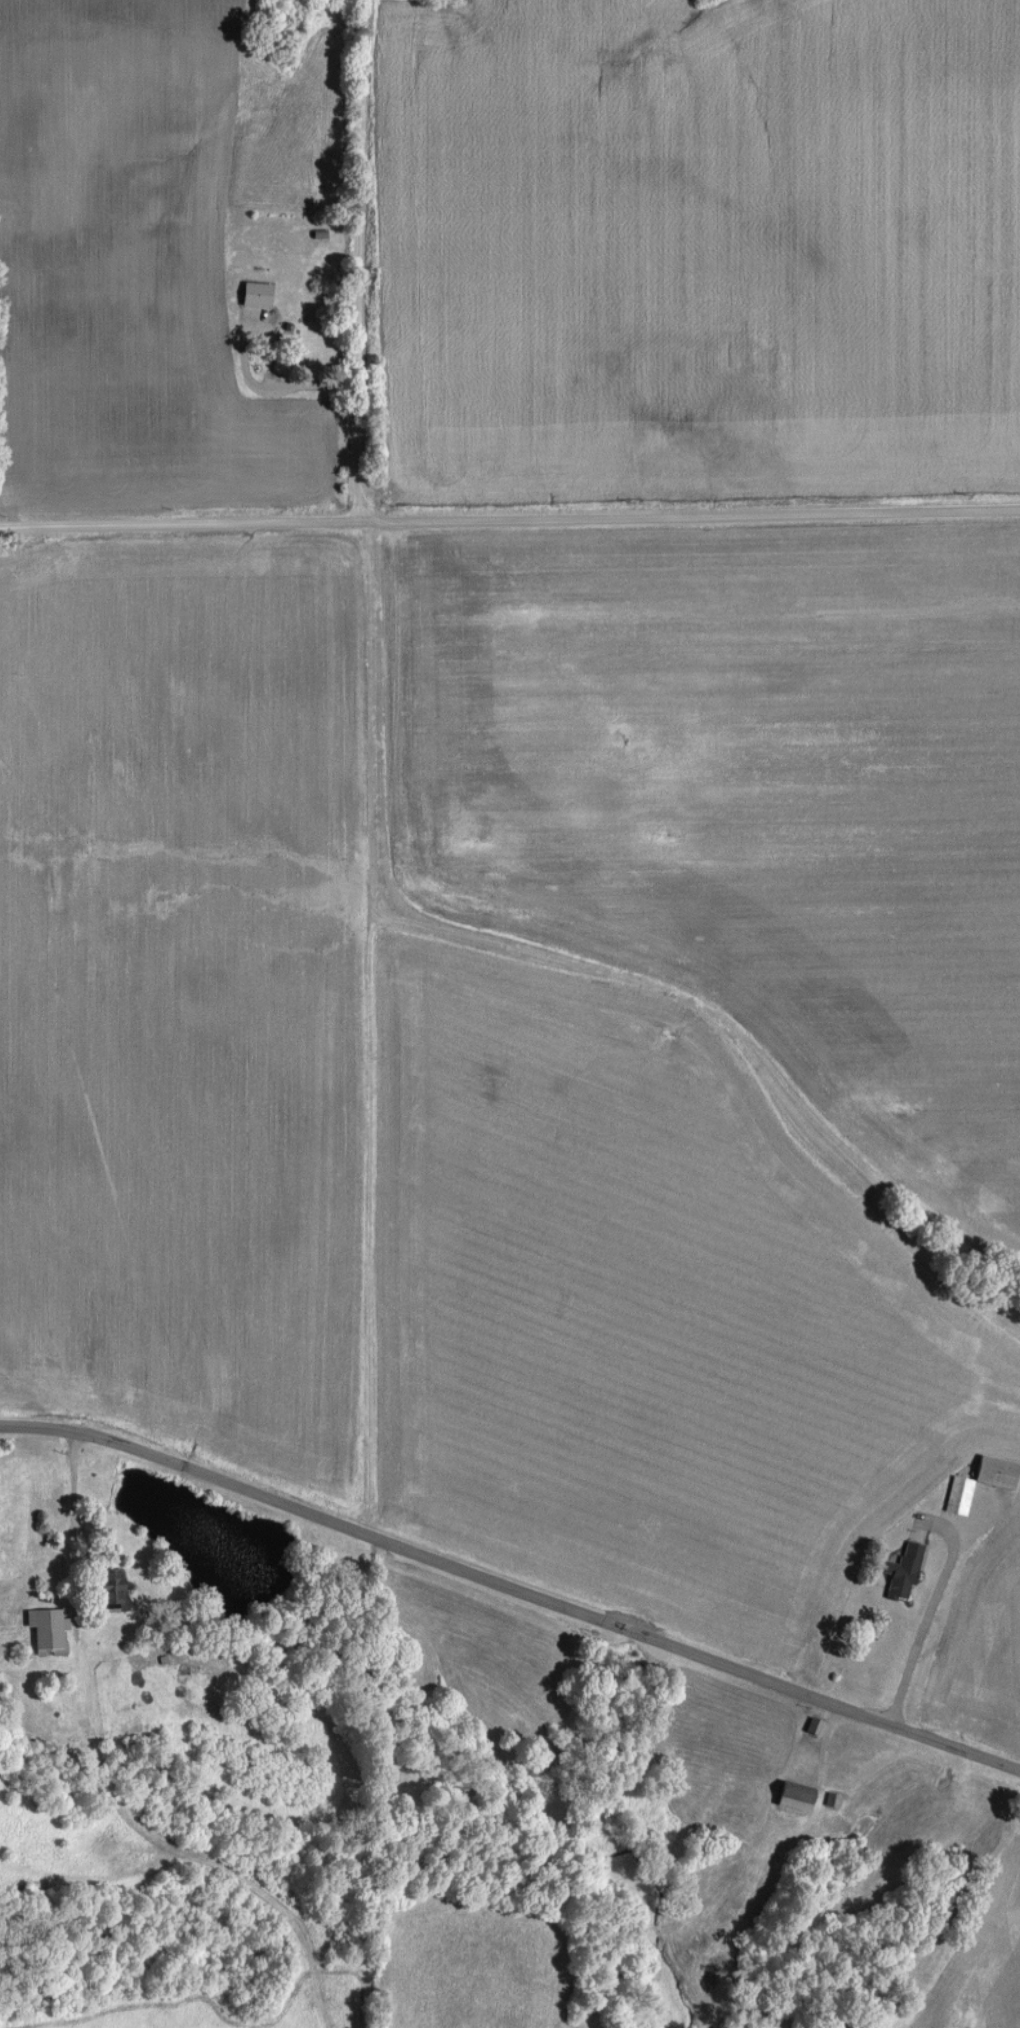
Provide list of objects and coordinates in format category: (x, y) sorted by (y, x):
building: (319, 121)
road: (365, 265)
road: (272, 389)
road: (510, 527)
building: (980, 1479)
road: (79, 1503)
building: (903, 1568)
road: (512, 1582)
building: (112, 1588)
road: (932, 1605)
building: (46, 1628)
building: (813, 1724)
building: (794, 1795)

